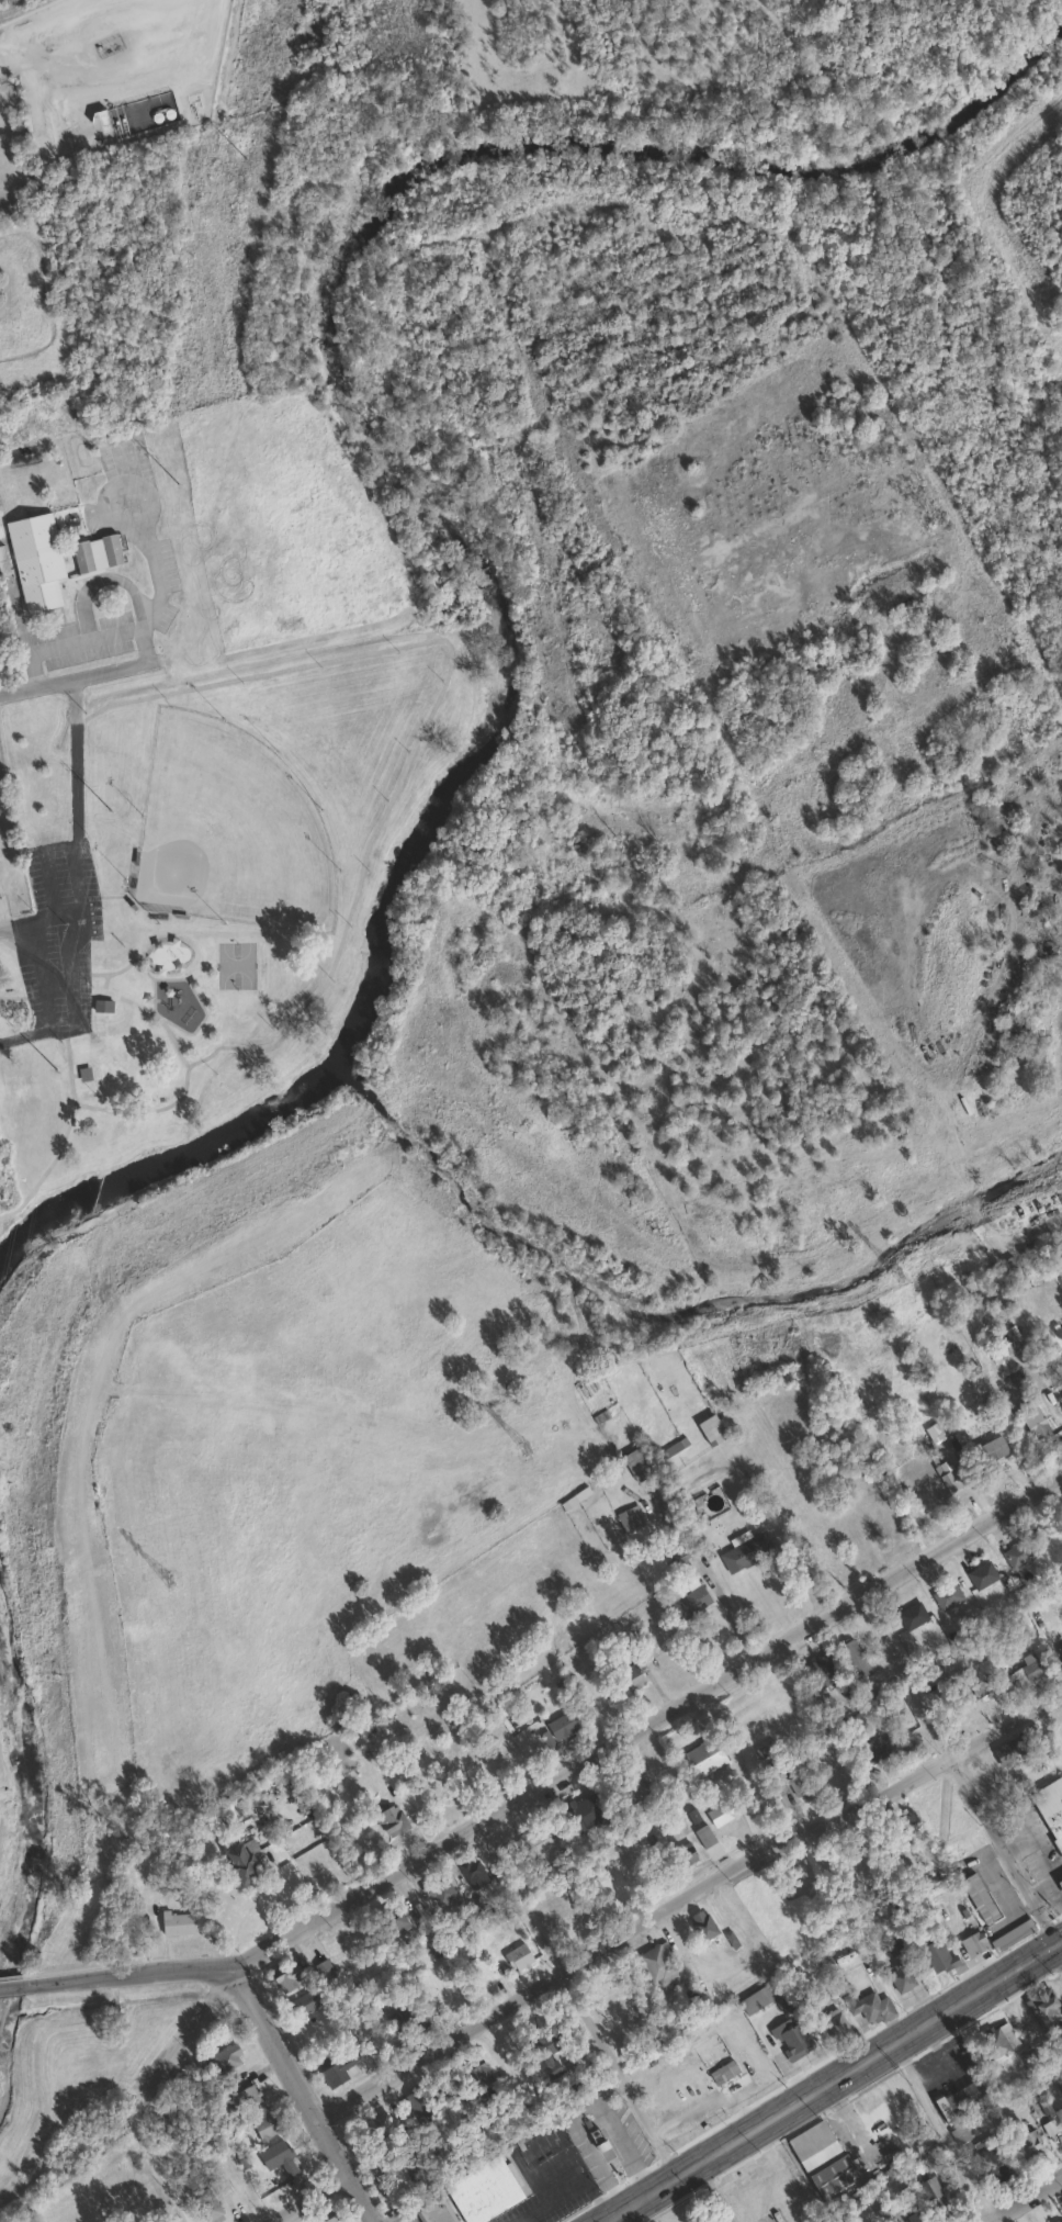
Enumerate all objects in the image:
building: (81, 1)
building: (145, 53)
power tower: (242, 159)
building: (94, 553)
building: (33, 560)
road: (102, 575)
road: (87, 637)
road: (74, 682)
power tower: (109, 809)
road: (81, 834)
road: (366, 843)
park: (225, 862)
road: (16, 930)
road: (117, 968)
road: (150, 981)
road: (103, 984)
road: (43, 994)
building: (99, 1002)
road: (201, 1008)
road: (149, 1011)
road: (10, 1037)
park: (36, 1148)
power tower: (894, 1272)
building: (1030, 1417)
building: (988, 1449)
building: (633, 1461)
building: (947, 1477)
building: (628, 1517)
building: (742, 1550)
building: (1015, 1553)
building: (677, 1558)
building: (981, 1574)
power tower: (167, 1580)
building: (945, 1595)
building: (910, 1615)
building: (1060, 1650)
building: (852, 1659)
building: (1028, 1668)
building: (821, 1671)
building: (951, 1671)
building: (631, 1677)
building: (560, 1725)
road: (643, 1729)
building: (888, 1743)
building: (1006, 1750)
building: (702, 1757)
road: (956, 1772)
building: (630, 1784)
building: (1050, 1807)
building: (721, 1810)
building: (581, 1811)
park: (14, 1814)
building: (388, 1819)
building: (701, 1834)
building: (530, 1843)
road: (1017, 1847)
building: (681, 1852)
road: (1040, 1854)
building: (238, 1864)
building: (470, 1872)
road: (1058, 1874)
building: (1060, 1882)
building: (999, 1883)
building: (439, 1889)
road: (1054, 1892)
road: (683, 1895)
building: (976, 1896)
building: (388, 1920)
building: (174, 1922)
building: (701, 1923)
road: (856, 1933)
building: (969, 1933)
building: (1010, 1933)
road: (1058, 1951)
building: (935, 1953)
building: (516, 1955)
building: (655, 1964)
building: (900, 1973)
road: (14, 1975)
road: (129, 1975)
building: (285, 1976)
road: (15, 1986)
road: (576, 2000)
building: (298, 2002)
building: (1044, 2007)
building: (856, 2012)
building: (406, 2019)
road: (61, 2027)
building: (791, 2035)
building: (996, 2039)
road: (177, 2050)
building: (546, 2051)
building: (222, 2058)
park: (79, 2068)
building: (475, 2068)
building: (335, 2069)
building: (722, 2070)
road: (829, 2079)
building: (447, 2081)
road: (304, 2096)
building: (241, 2097)
building: (958, 2098)
road: (704, 2102)
building: (418, 2103)
building: (1059, 2116)
building: (260, 2121)
building: (163, 2126)
building: (372, 2126)
road: (944, 2130)
road: (584, 2134)
road: (622, 2143)
building: (1025, 2143)
building: (274, 2156)
building: (820, 2157)
building: (990, 2157)
road: (163, 2173)
building: (395, 2179)
building: (482, 2189)
road: (716, 2190)
building: (931, 2196)
road: (1025, 2198)
road: (309, 2200)
building: (433, 2210)
building: (914, 2217)
building: (323, 2218)
building: (1061, 2221)

